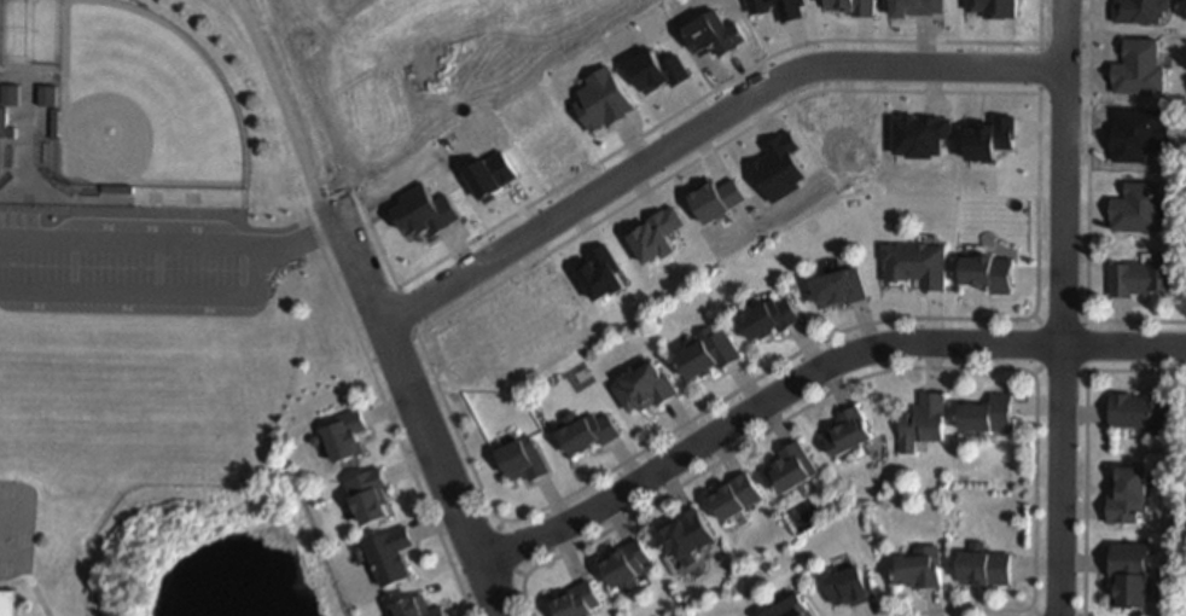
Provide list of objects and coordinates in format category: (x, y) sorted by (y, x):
building: (856, 7)
building: (920, 7)
building: (994, 7)
building: (1140, 10)
building: (791, 12)
building: (469, 13)
park: (0, 22)
road: (248, 22)
road: (301, 23)
building: (713, 34)
building: (1140, 69)
building: (658, 70)
road: (717, 86)
building: (10, 94)
building: (47, 94)
building: (601, 99)
park: (140, 104)
building: (5, 121)
building: (57, 122)
road: (703, 128)
building: (12, 133)
building: (920, 134)
building: (1136, 134)
building: (990, 138)
road: (685, 165)
building: (780, 165)
building: (493, 174)
building: (118, 188)
building: (719, 199)
road: (1086, 208)
building: (1138, 208)
building: (424, 209)
building: (658, 234)
road: (304, 239)
road: (134, 246)
building: (918, 263)
parking lot: (118, 271)
building: (601, 272)
building: (990, 273)
building: (1140, 279)
building: (842, 286)
road: (153, 300)
road: (1060, 308)
building: (772, 318)
road: (1035, 319)
road: (1083, 320)
road: (1059, 324)
road: (383, 330)
road: (1039, 344)
road: (1080, 345)
building: (709, 351)
road: (1058, 366)
road: (905, 368)
road: (1034, 370)
road: (1083, 371)
road: (810, 372)
building: (645, 387)
road: (732, 391)
building: (1145, 409)
building: (989, 413)
road: (388, 418)
building: (924, 420)
building: (587, 431)
building: (847, 431)
building: (349, 434)
road: (1081, 444)
building: (522, 458)
building: (792, 466)
building: (374, 495)
building: (733, 495)
building: (1128, 495)
road: (495, 525)
road: (492, 531)
building: (682, 535)
road: (448, 553)
building: (394, 554)
building: (623, 564)
building: (919, 568)
building: (984, 568)
building: (1129, 573)
road: (517, 574)
building: (850, 586)
road: (34, 594)
building: (579, 599)
building: (7, 603)
building: (423, 608)
building: (791, 608)
road: (1029, 612)

